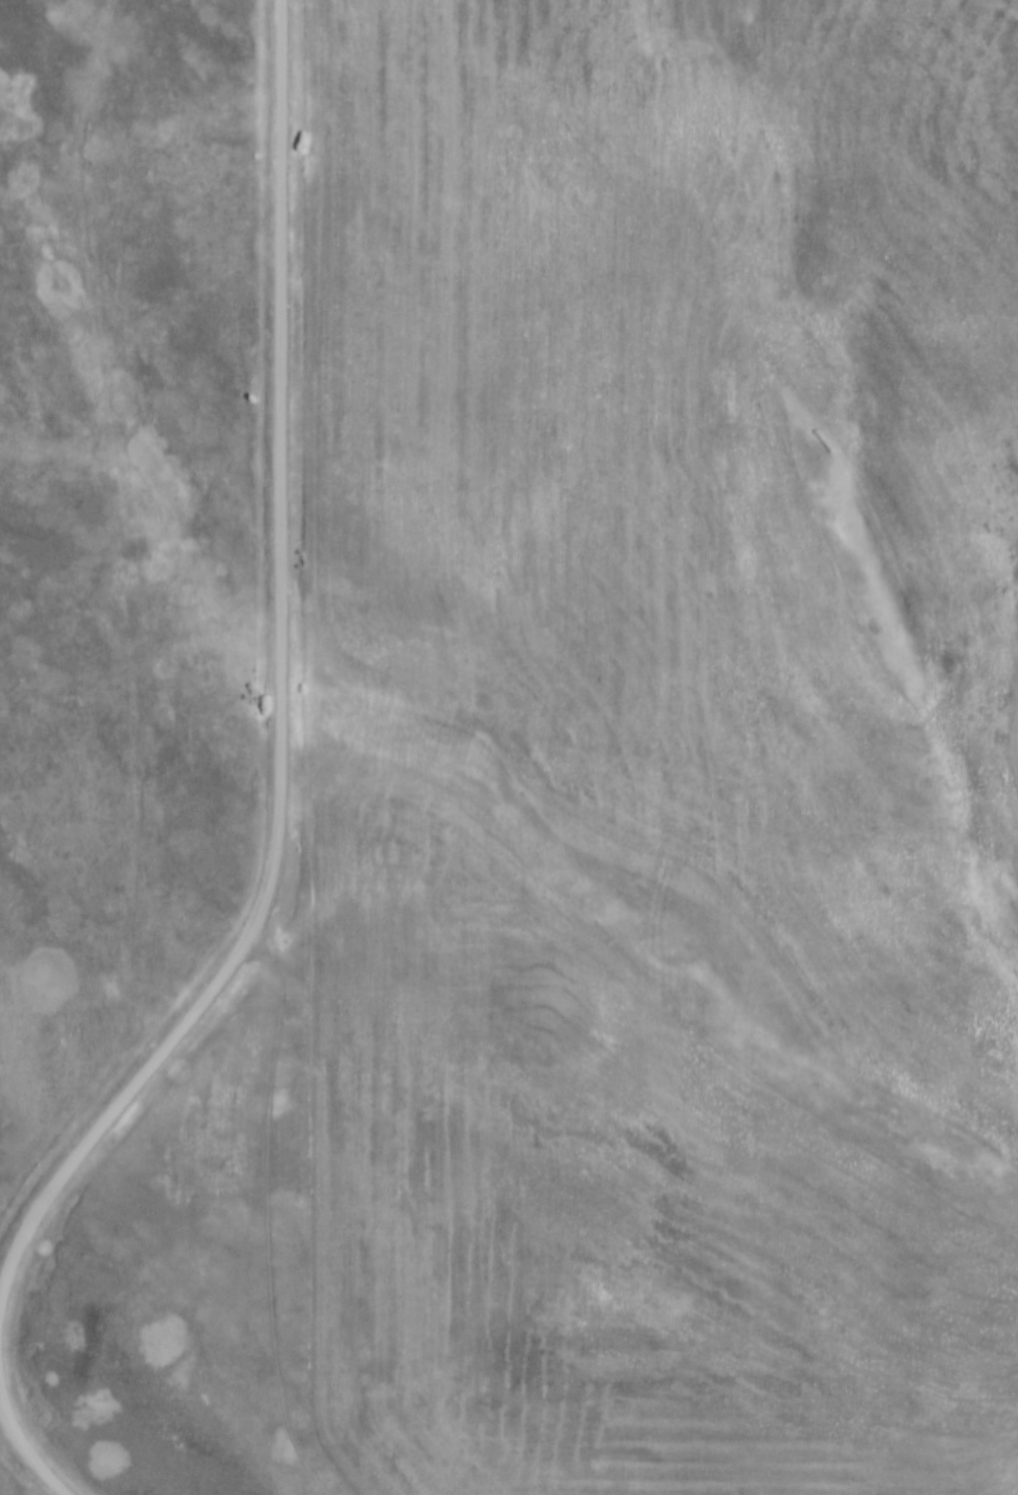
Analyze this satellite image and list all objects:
road: (276, 687)
road: (24, 1453)

